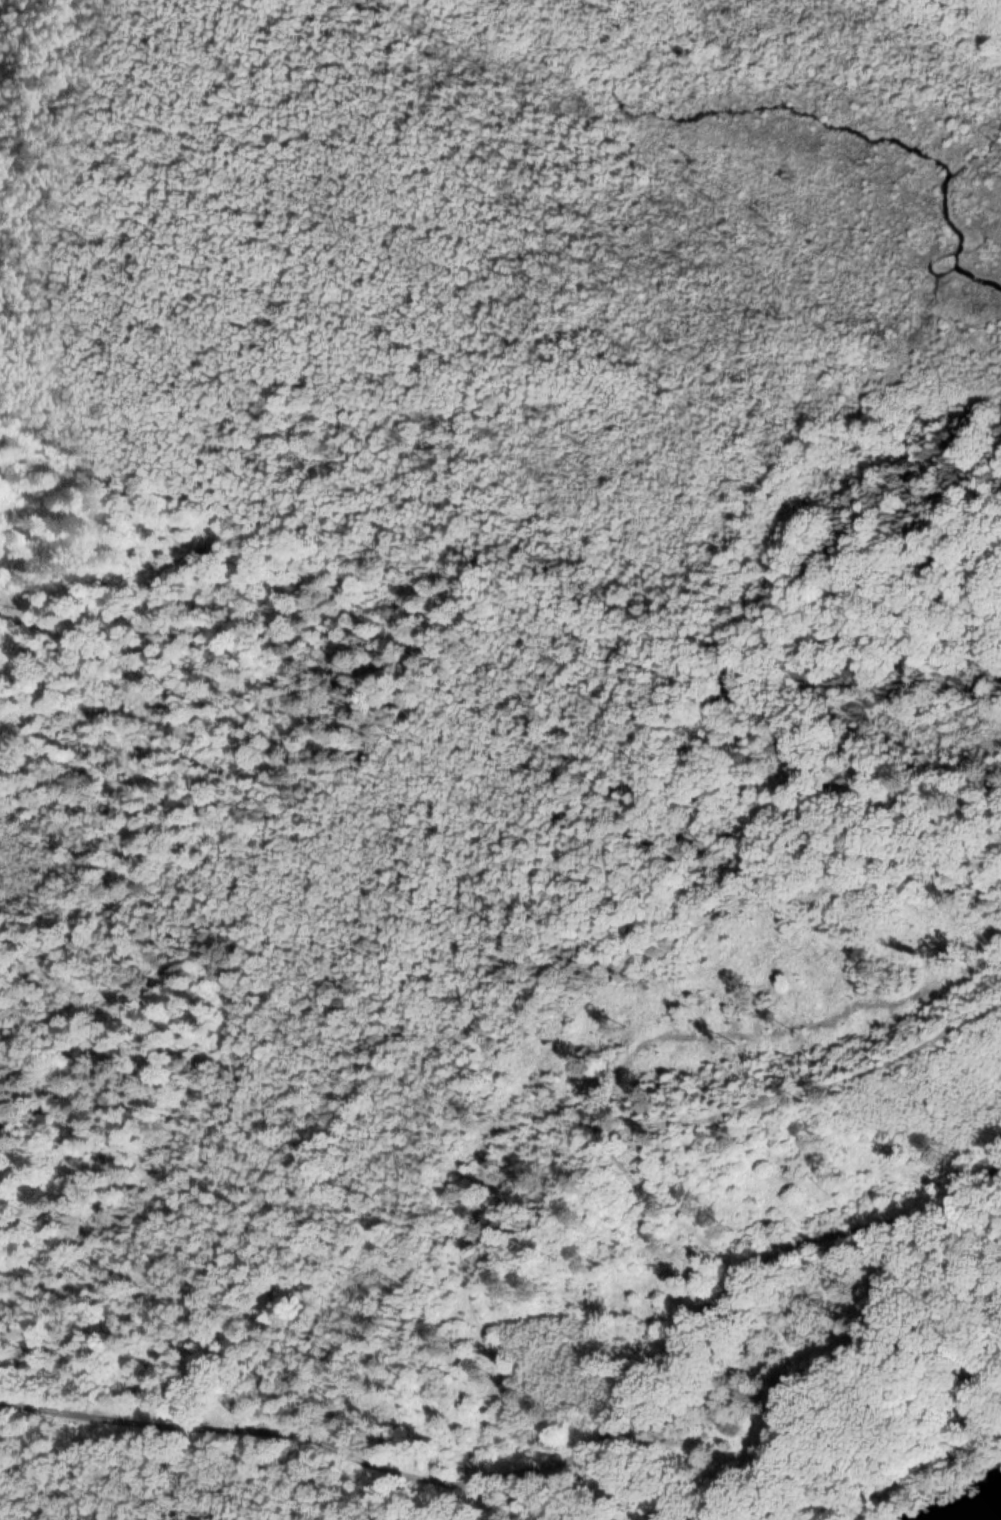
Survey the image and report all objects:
road: (506, 552)
road: (550, 1466)

